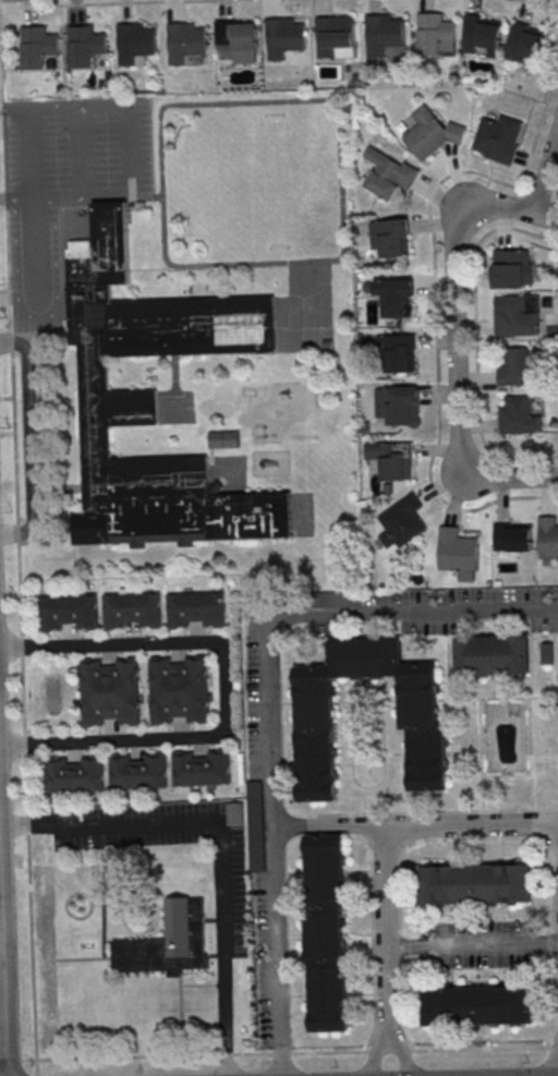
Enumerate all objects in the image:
road: (104, 3)
road: (538, 3)
building: (333, 34)
building: (383, 34)
building: (434, 35)
building: (481, 35)
building: (234, 37)
building: (282, 37)
building: (134, 43)
building: (185, 43)
building: (526, 44)
building: (85, 45)
building: (38, 46)
road: (1, 71)
road: (2, 109)
road: (537, 129)
building: (430, 134)
building: (498, 138)
road: (126, 150)
road: (3, 153)
road: (82, 155)
road: (33, 158)
road: (545, 172)
building: (386, 176)
road: (538, 194)
road: (5, 197)
road: (555, 198)
road: (556, 201)
road: (515, 202)
road: (463, 209)
road: (544, 218)
road: (551, 219)
road: (547, 234)
building: (389, 238)
road: (7, 246)
road: (39, 268)
building: (512, 268)
building: (396, 297)
road: (9, 298)
road: (451, 306)
building: (518, 316)
road: (9, 322)
road: (474, 338)
road: (10, 341)
building: (398, 353)
road: (436, 355)
building: (513, 366)
road: (5, 398)
building: (154, 400)
building: (398, 406)
building: (519, 415)
road: (7, 434)
road: (13, 436)
building: (223, 439)
road: (31, 442)
building: (390, 459)
road: (464, 469)
road: (512, 477)
building: (402, 522)
road: (16, 532)
building: (548, 537)
building: (512, 541)
building: (457, 551)
road: (19, 589)
building: (308, 600)
building: (195, 609)
building: (132, 610)
building: (70, 613)
road: (555, 613)
road: (310, 615)
road: (445, 615)
road: (513, 618)
road: (427, 619)
road: (365, 620)
road: (555, 625)
road: (445, 626)
road: (21, 646)
building: (546, 653)
building: (493, 656)
road: (274, 669)
road: (366, 686)
road: (225, 689)
building: (179, 691)
building: (110, 693)
road: (22, 696)
road: (502, 698)
building: (315, 702)
road: (24, 745)
road: (530, 753)
road: (481, 754)
building: (202, 770)
building: (138, 773)
building: (74, 775)
road: (25, 784)
road: (368, 800)
parking lot: (260, 805)
road: (351, 813)
building: (235, 814)
road: (174, 822)
road: (27, 824)
road: (340, 825)
building: (257, 827)
road: (328, 832)
road: (554, 832)
road: (474, 837)
road: (390, 855)
building: (475, 884)
parking lot: (230, 904)
building: (326, 933)
road: (554, 941)
building: (168, 943)
road: (473, 943)
road: (400, 946)
road: (276, 951)
road: (32, 955)
road: (3, 968)
road: (555, 1001)
building: (477, 1005)
road: (401, 1006)
road: (225, 1017)
road: (554, 1047)
road: (480, 1049)
road: (401, 1050)
road: (377, 1051)
road: (389, 1051)
road: (328, 1052)
road: (226, 1054)
road: (252, 1054)
road: (280, 1054)
road: (119, 1056)
road: (555, 1059)
road: (10, 1060)

